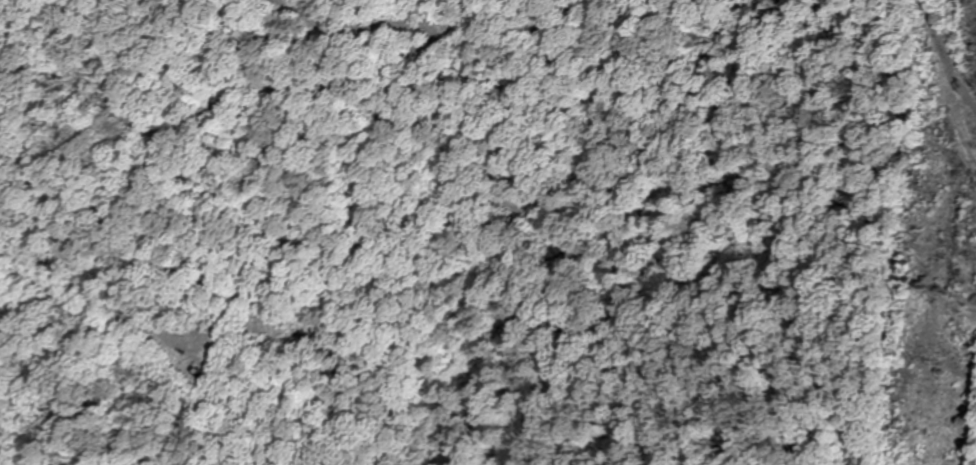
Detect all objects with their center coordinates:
power tower: (944, 294)

